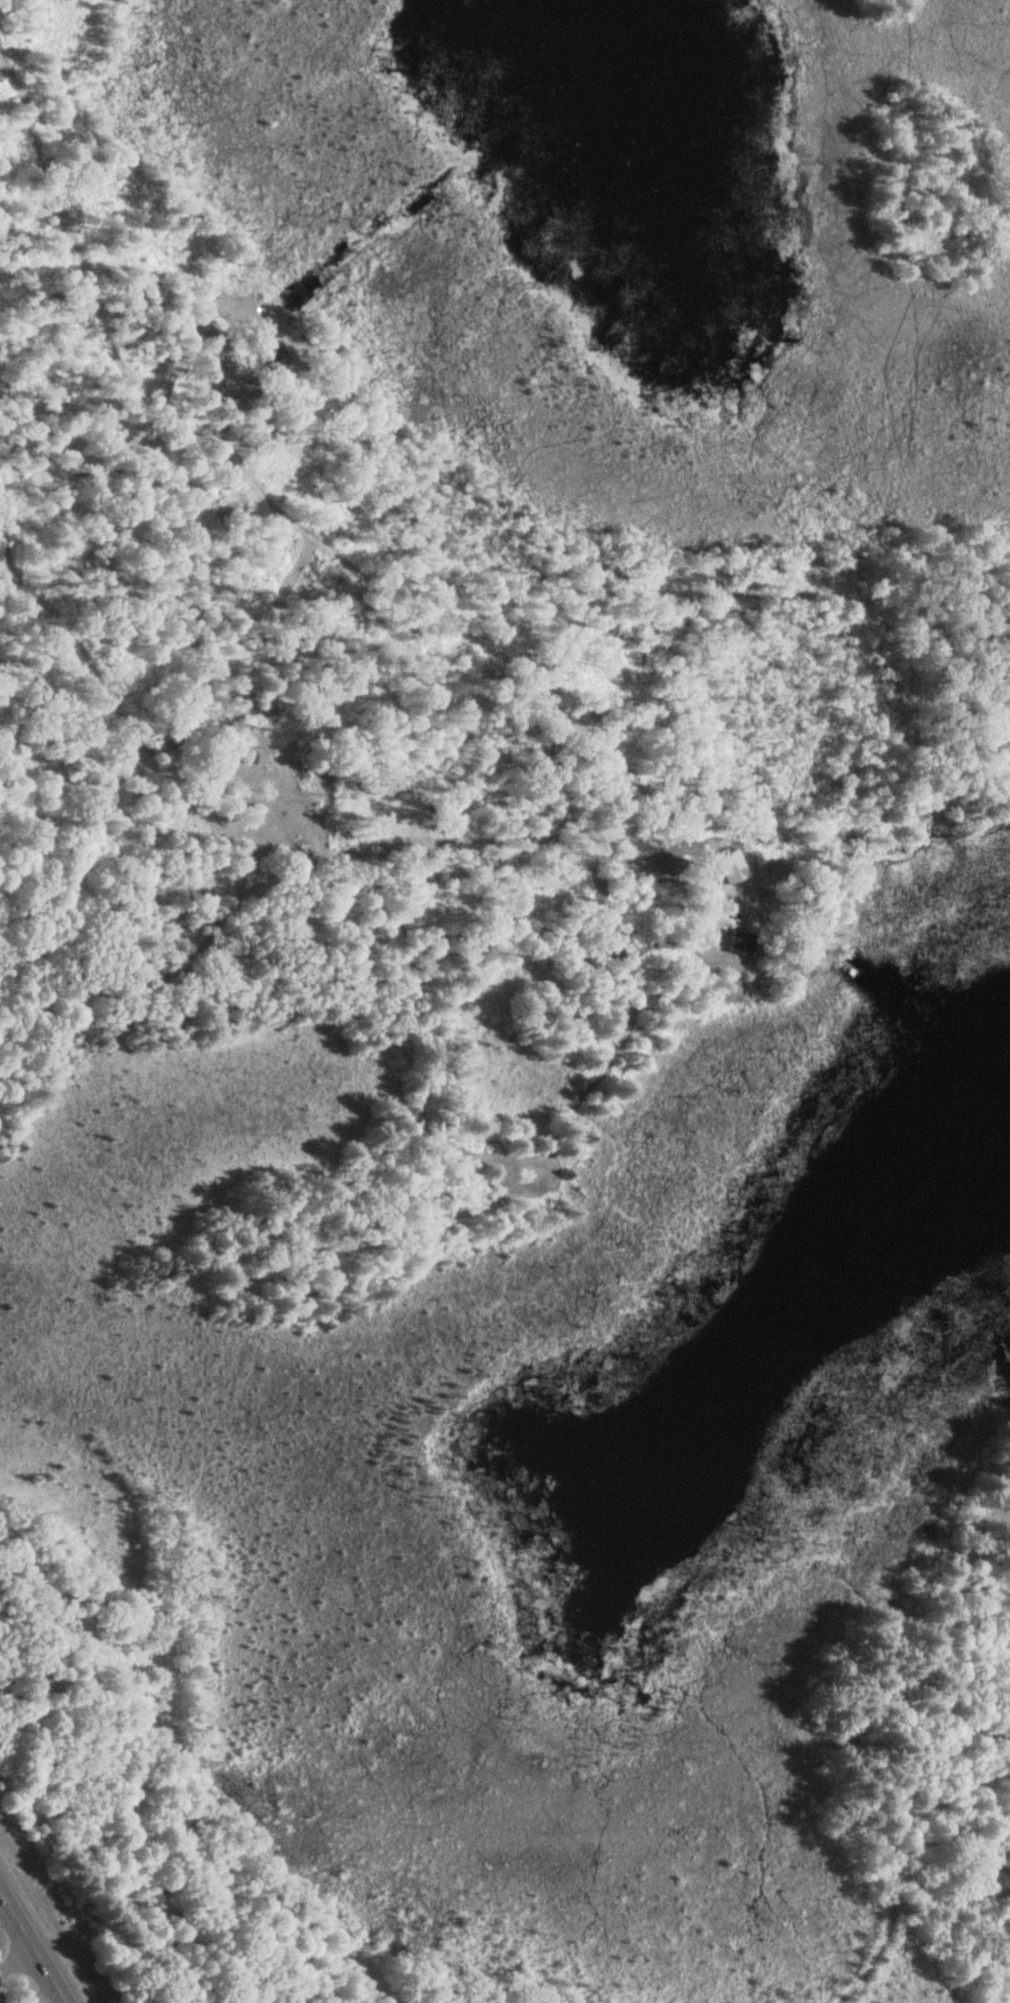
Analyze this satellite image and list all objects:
road: (35, 1941)
road: (21, 1962)

